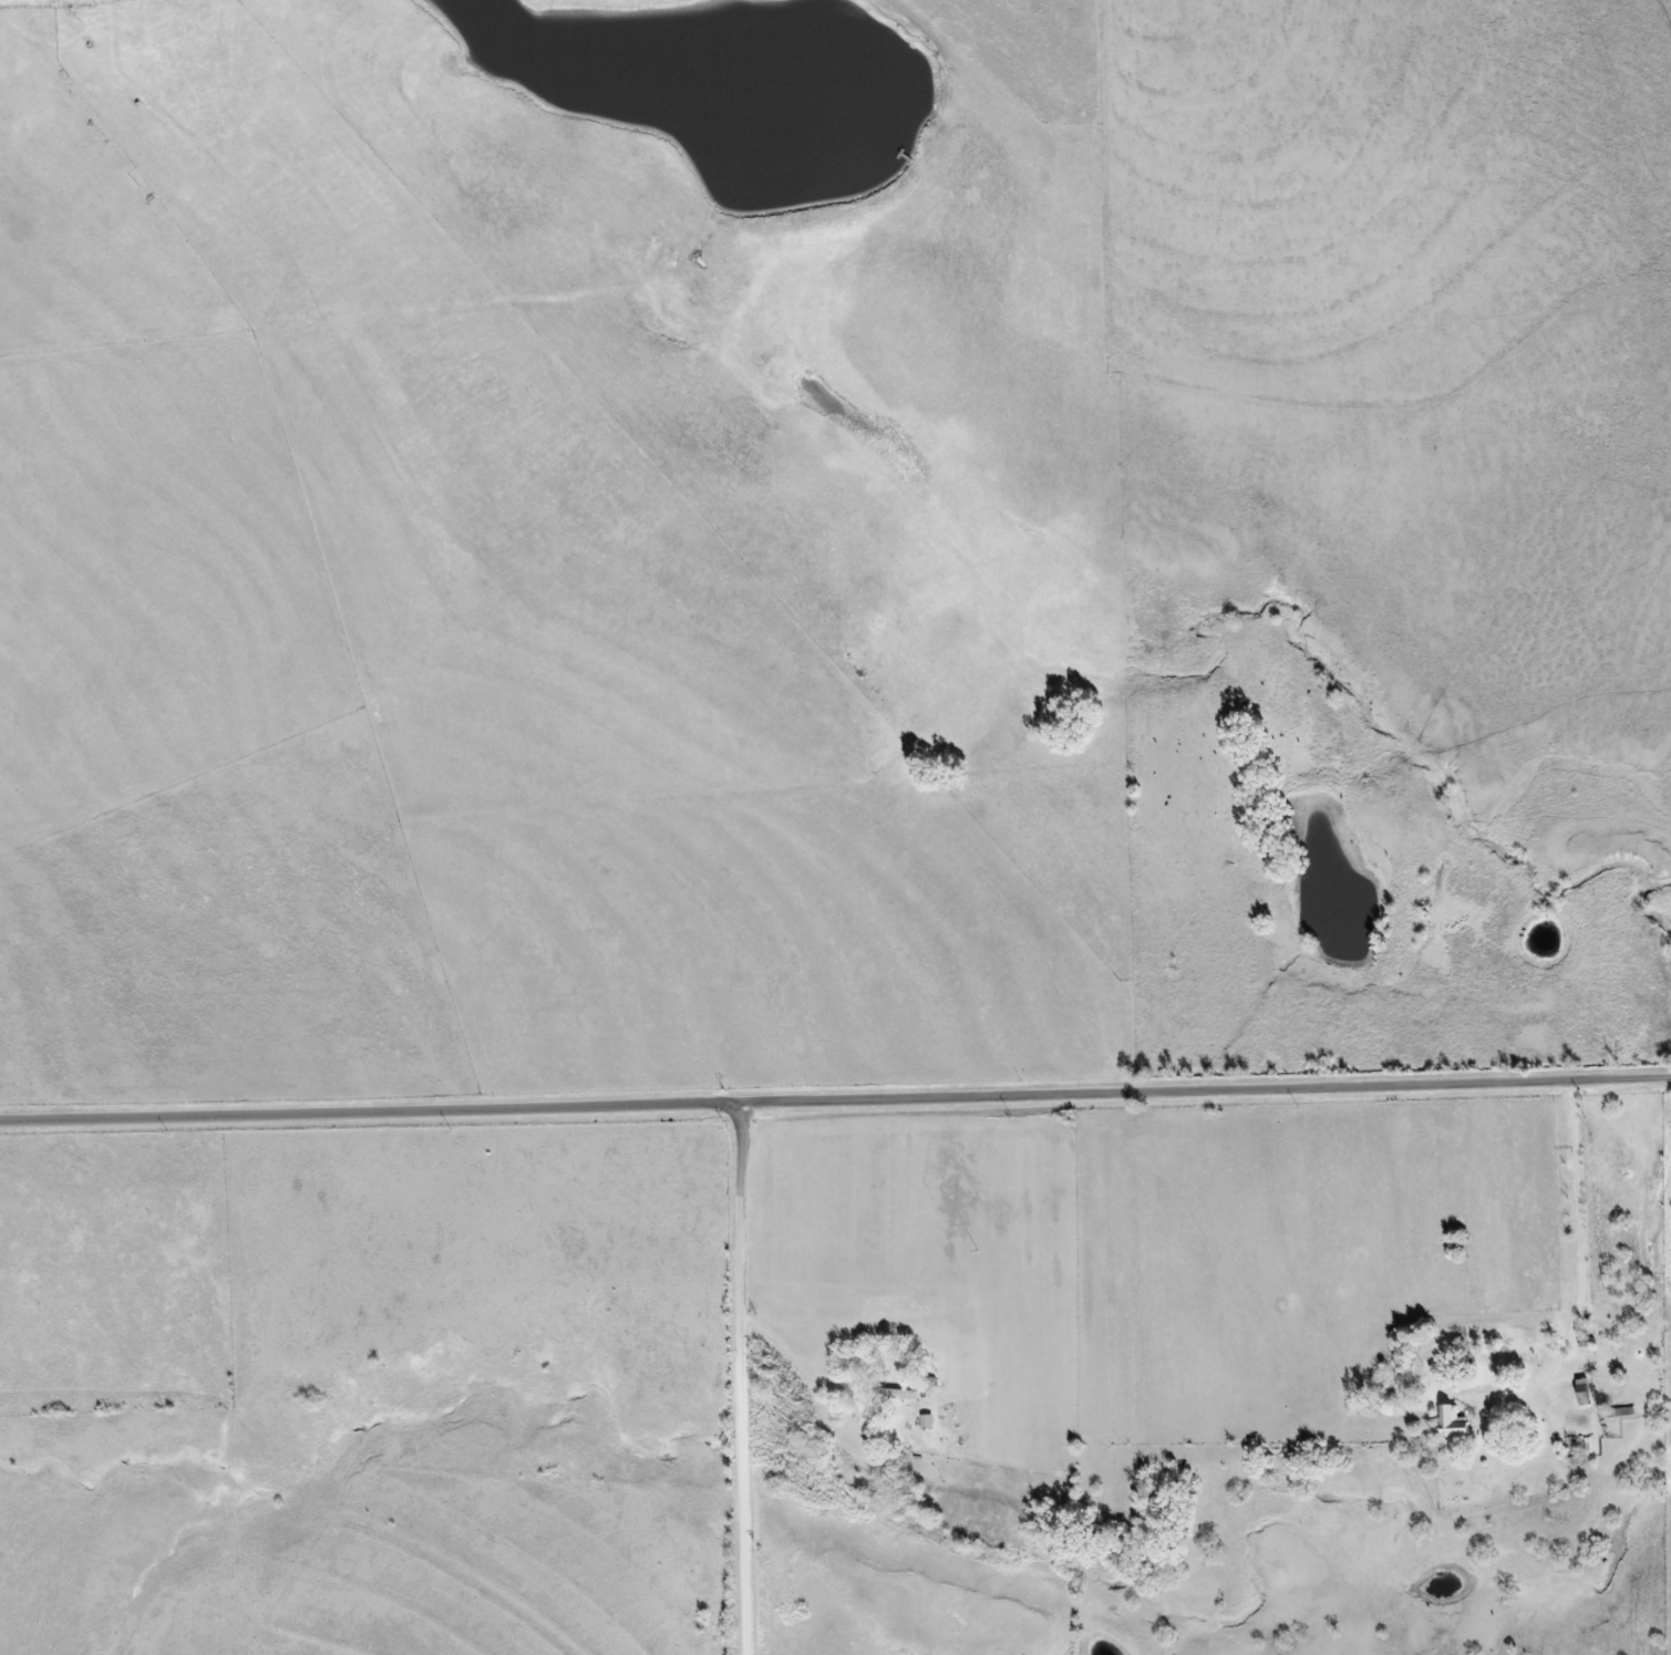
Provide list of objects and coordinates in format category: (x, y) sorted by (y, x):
road: (835, 1094)
road: (1580, 1273)
road: (740, 1376)
building: (1581, 1392)
building: (896, 1394)
building: (1617, 1413)
building: (1452, 1423)

